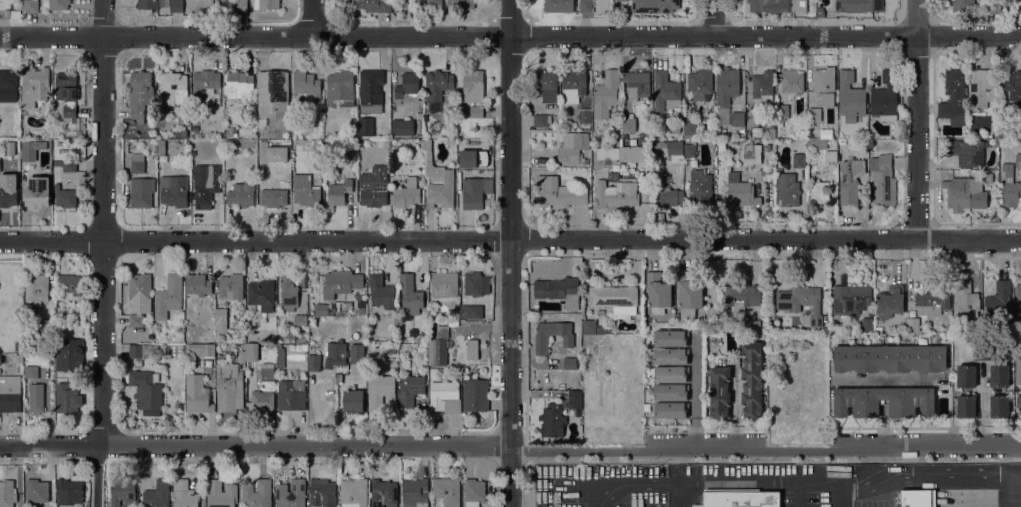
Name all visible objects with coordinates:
building: (621, 0)
building: (158, 3)
building: (56, 4)
building: (148, 4)
building: (266, 4)
building: (461, 4)
building: (172, 5)
building: (370, 5)
building: (585, 5)
building: (654, 5)
building: (777, 5)
building: (962, 5)
building: (994, 5)
building: (31, 6)
building: (240, 6)
building: (435, 6)
building: (558, 6)
building: (858, 6)
building: (1015, 6)
building: (819, 11)
building: (6, 13)
building: (15, 14)
road: (311, 17)
road: (714, 17)
road: (510, 35)
building: (792, 81)
building: (35, 83)
building: (637, 83)
building: (65, 84)
building: (307, 84)
building: (699, 84)
building: (239, 85)
building: (438, 85)
building: (545, 85)
building: (727, 85)
building: (8, 86)
building: (205, 86)
building: (473, 86)
building: (573, 86)
building: (762, 86)
building: (824, 86)
building: (981, 86)
building: (1013, 86)
building: (408, 87)
building: (172, 88)
building: (340, 89)
building: (371, 91)
building: (666, 91)
building: (273, 93)
building: (140, 94)
building: (606, 94)
building: (850, 97)
building: (885, 97)
building: (953, 99)
building: (476, 112)
building: (1004, 112)
building: (69, 113)
building: (781, 113)
building: (814, 114)
building: (584, 116)
building: (737, 119)
building: (542, 120)
road: (917, 120)
building: (628, 125)
building: (767, 126)
building: (366, 127)
building: (402, 127)
building: (194, 128)
building: (781, 128)
building: (690, 129)
building: (677, 130)
building: (229, 132)
building: (181, 134)
building: (353, 134)
building: (781, 134)
building: (185, 141)
building: (285, 143)
building: (816, 143)
building: (317, 144)
building: (362, 144)
building: (421, 144)
building: (16, 145)
building: (127, 146)
building: (572, 147)
building: (768, 147)
building: (161, 148)
building: (721, 148)
building: (31, 150)
building: (690, 150)
building: (672, 151)
building: (968, 151)
building: (750, 152)
building: (608, 154)
building: (831, 156)
building: (473, 157)
building: (799, 160)
building: (584, 161)
building: (1018, 161)
building: (137, 163)
building: (69, 165)
building: (1008, 171)
building: (767, 172)
building: (988, 177)
building: (883, 179)
building: (437, 181)
building: (850, 181)
building: (205, 183)
building: (701, 186)
building: (374, 187)
building: (788, 189)
building: (174, 190)
building: (305, 190)
building: (142, 191)
building: (37, 192)
building: (339, 192)
building: (472, 192)
building: (667, 192)
building: (241, 193)
building: (818, 193)
building: (964, 193)
building: (407, 194)
building: (616, 194)
building: (742, 194)
building: (1011, 194)
building: (275, 195)
building: (560, 195)
building: (65, 196)
building: (8, 198)
building: (996, 208)
road: (510, 238)
road: (107, 253)
road: (509, 253)
building: (341, 283)
building: (444, 284)
building: (476, 284)
building: (198, 285)
building: (69, 287)
building: (140, 287)
building: (231, 287)
building: (37, 288)
building: (559, 290)
building: (658, 290)
building: (689, 290)
building: (381, 291)
building: (288, 293)
building: (410, 294)
building: (261, 296)
building: (613, 296)
building: (742, 296)
building: (169, 297)
building: (359, 297)
building: (798, 298)
building: (851, 299)
building: (1018, 299)
building: (933, 300)
building: (967, 300)
building: (890, 301)
building: (999, 301)
building: (343, 306)
building: (322, 309)
building: (361, 311)
building: (472, 312)
building: (221, 317)
building: (136, 320)
building: (300, 321)
building: (816, 321)
building: (866, 323)
building: (912, 325)
building: (589, 326)
building: (751, 326)
building: (764, 328)
building: (879, 329)
building: (948, 329)
building: (45, 330)
building: (825, 330)
building: (243, 332)
building: (29, 337)
building: (672, 338)
building: (542, 341)
building: (20, 347)
building: (271, 347)
building: (304, 347)
building: (202, 349)
building: (438, 349)
building: (472, 349)
building: (985, 350)
building: (140, 351)
building: (160, 351)
building: (68, 354)
building: (336, 354)
building: (671, 356)
building: (280, 358)
building: (889, 358)
building: (243, 359)
building: (357, 359)
building: (313, 363)
building: (570, 363)
building: (406, 364)
building: (31, 372)
building: (18, 373)
building: (1018, 373)
building: (672, 374)
building: (966, 376)
building: (999, 376)
building: (751, 379)
building: (227, 388)
building: (410, 389)
building: (380, 390)
building: (671, 391)
building: (147, 392)
building: (720, 392)
building: (263, 393)
building: (197, 395)
building: (475, 395)
road: (694, 395)
building: (291, 396)
building: (445, 397)
building: (10, 398)
building: (36, 398)
building: (66, 398)
building: (574, 400)
building: (353, 401)
building: (884, 401)
building: (1019, 404)
road: (734, 405)
building: (966, 406)
building: (999, 406)
building: (672, 410)
building: (167, 418)
building: (552, 420)
building: (134, 425)
building: (545, 440)
road: (254, 445)
road: (764, 448)
road: (675, 455)
road: (675, 473)
road: (808, 483)
building: (37, 491)
building: (447, 491)
building: (69, 492)
building: (122, 492)
building: (474, 492)
building: (7, 493)
building: (291, 493)
building: (322, 493)
building: (354, 493)
building: (384, 493)
building: (415, 493)
building: (157, 494)
building: (184, 494)
building: (221, 494)
building: (257, 494)
building: (739, 498)
building: (918, 498)

